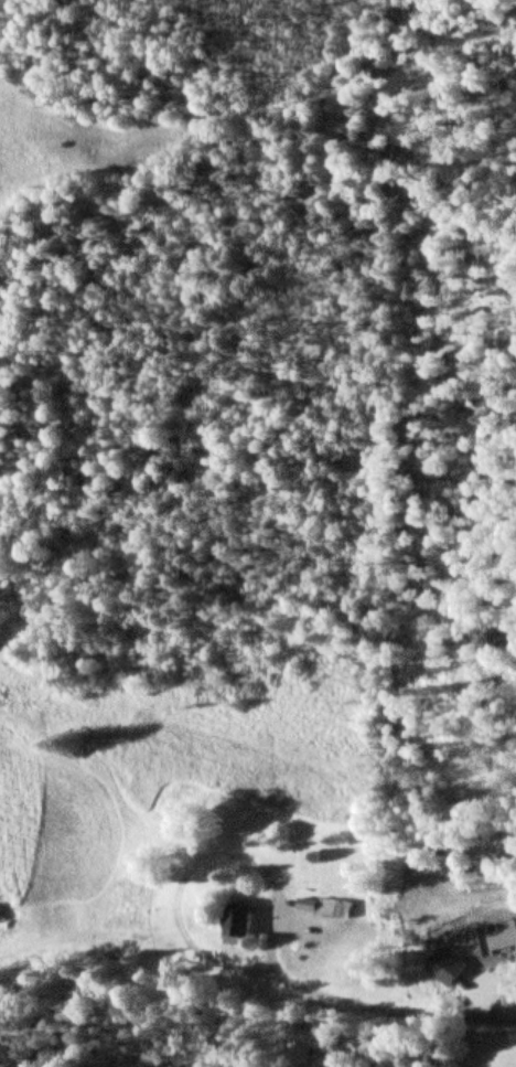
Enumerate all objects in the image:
building: (321, 908)
building: (232, 921)
building: (469, 925)
road: (411, 1010)

